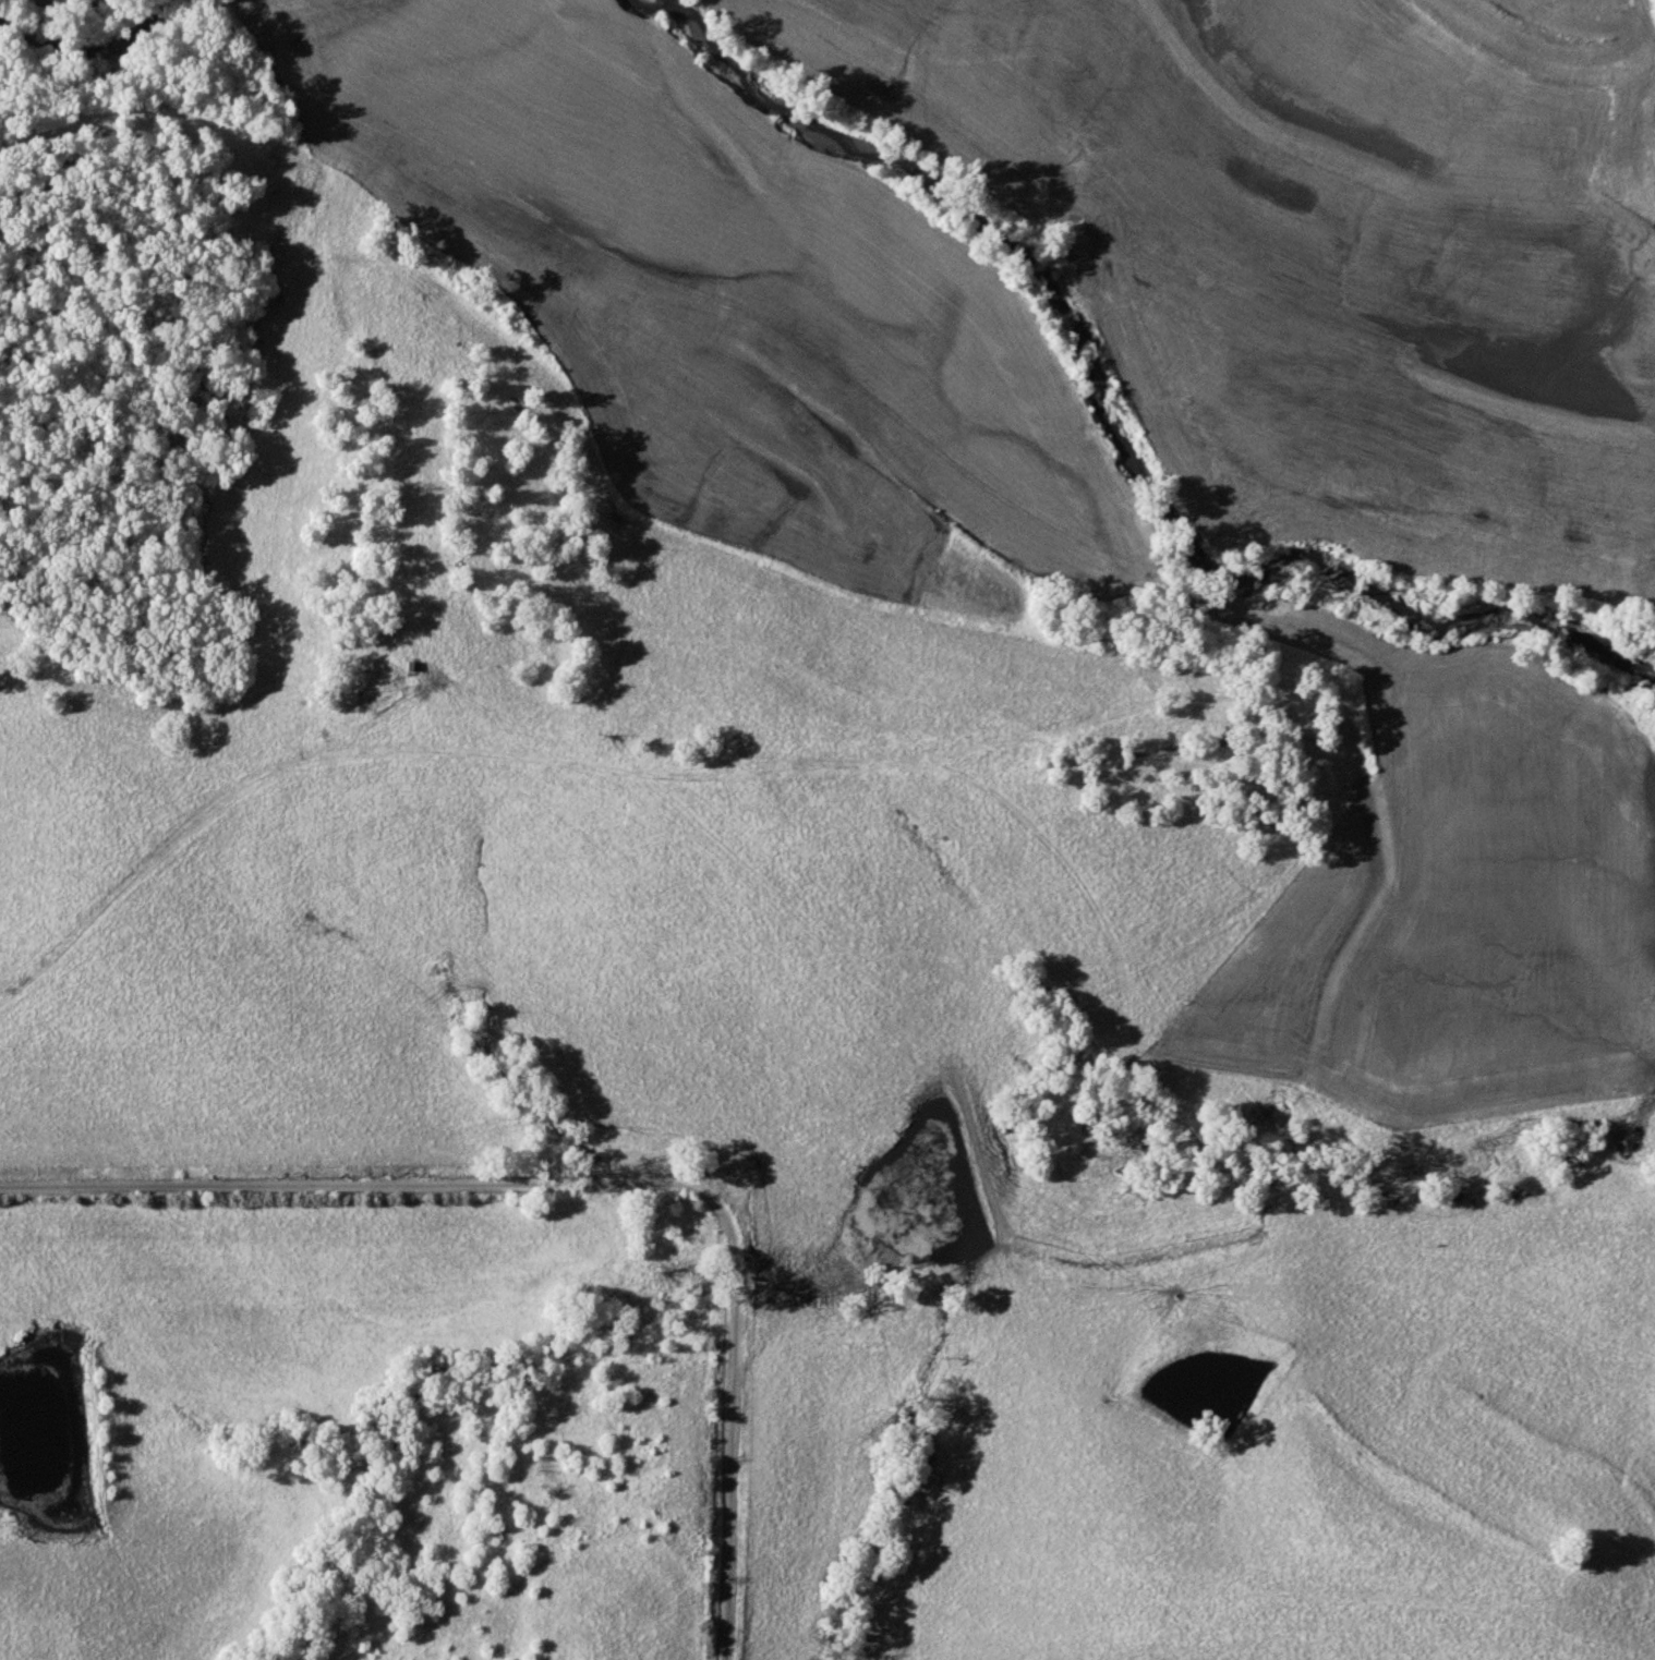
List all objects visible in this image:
road: (592, 1183)

